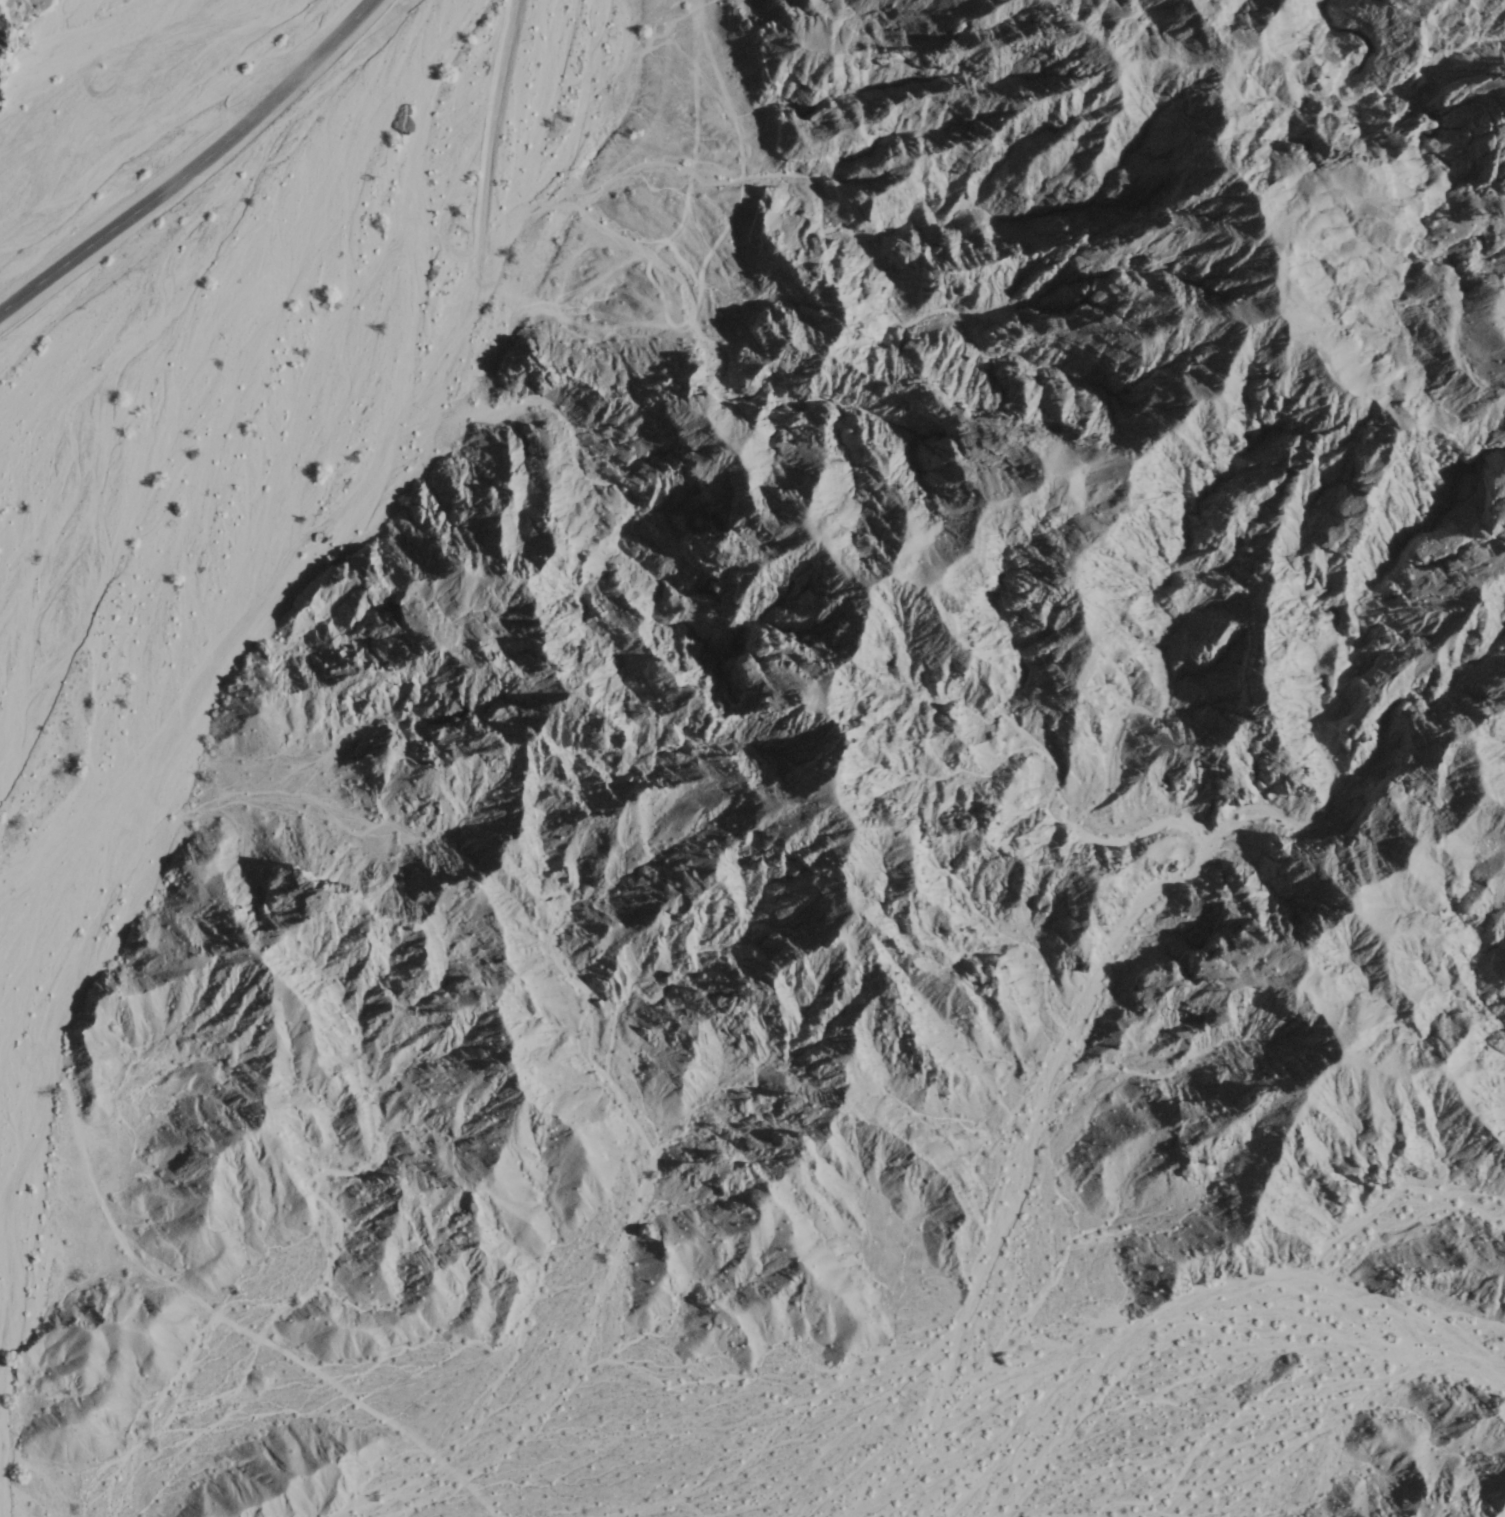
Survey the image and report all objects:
road: (189, 165)

